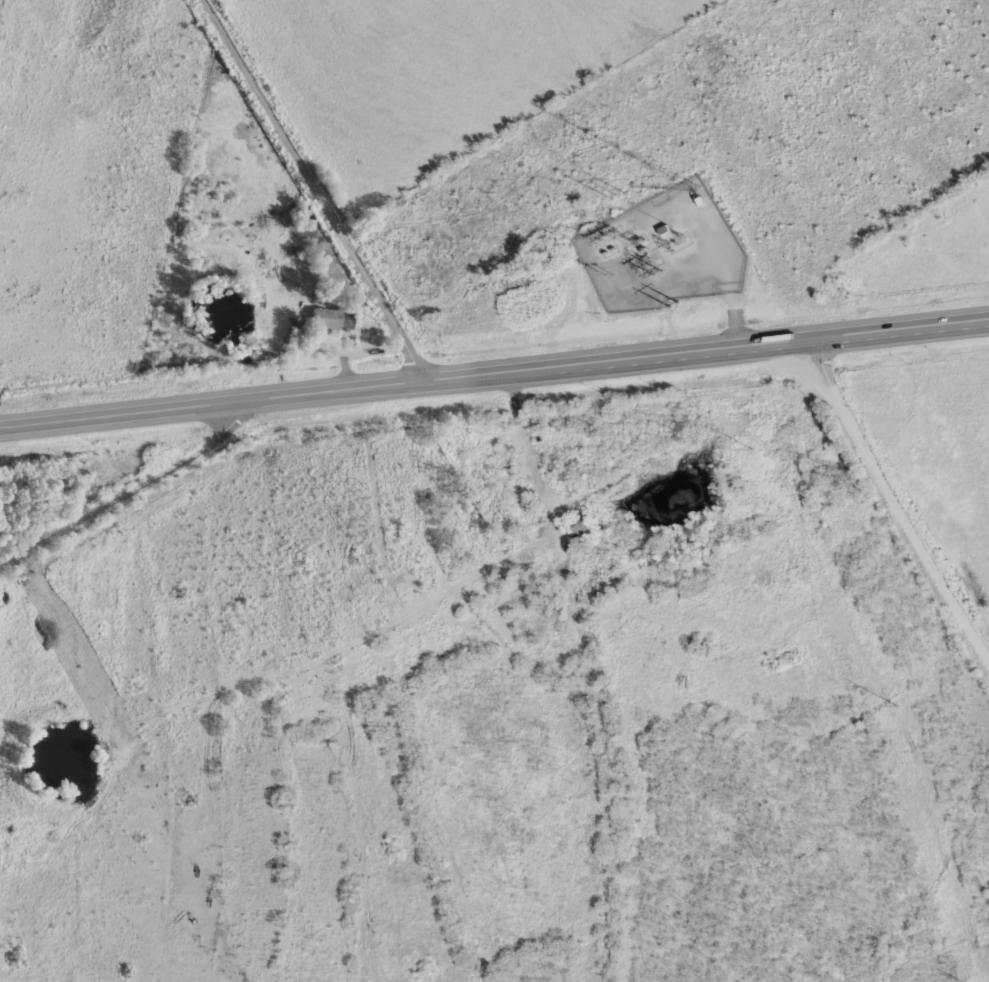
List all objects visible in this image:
road: (323, 193)
power tower: (619, 196)
power substation: (665, 249)
power tower: (657, 273)
power tower: (676, 303)
building: (360, 314)
road: (495, 376)
power tower: (754, 448)
road: (138, 491)
road: (894, 491)
power tower: (898, 703)

